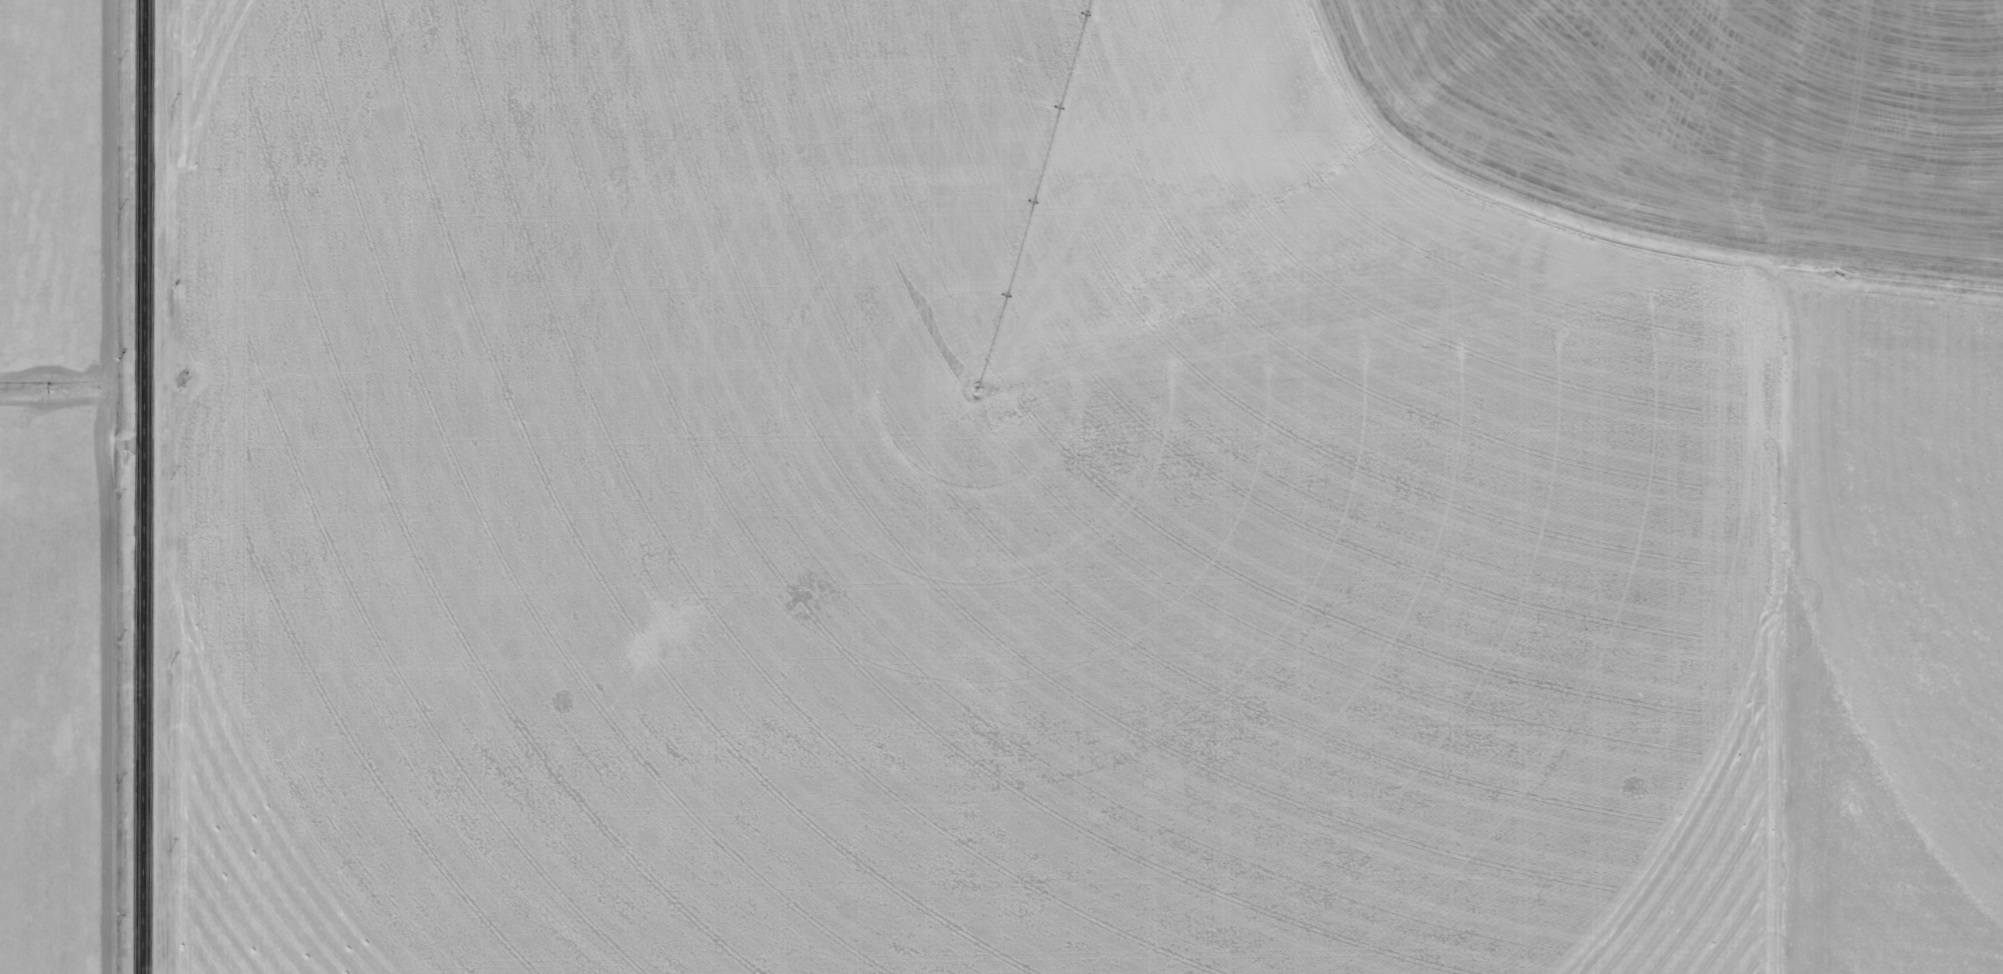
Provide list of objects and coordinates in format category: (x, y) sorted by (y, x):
road: (784, 165)
road: (152, 486)

